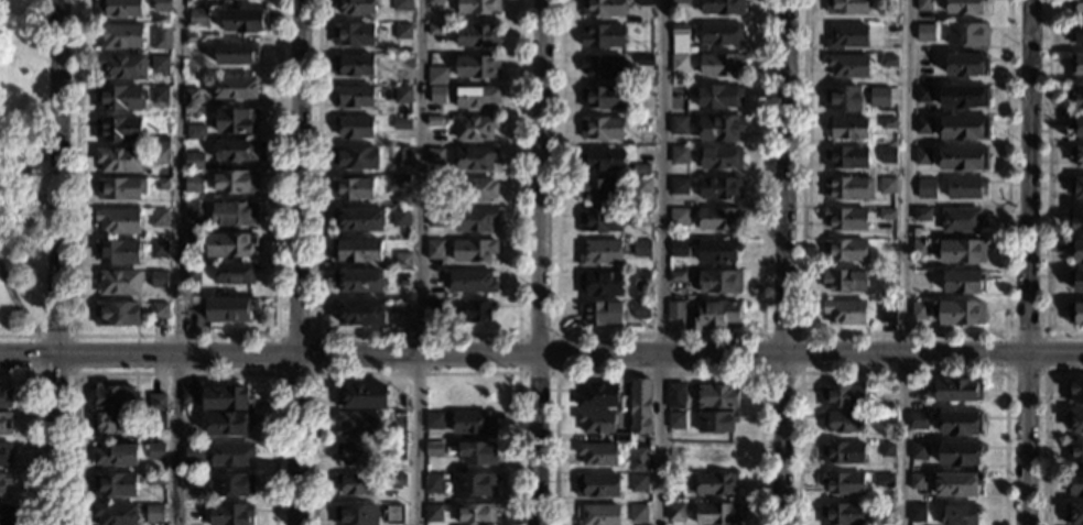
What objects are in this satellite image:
building: (434, 1)
building: (680, 2)
building: (646, 3)
building: (162, 6)
building: (402, 6)
building: (924, 6)
building: (1077, 6)
building: (356, 7)
building: (478, 7)
building: (722, 7)
building: (846, 7)
building: (965, 7)
building: (119, 8)
building: (603, 8)
building: (198, 19)
building: (245, 21)
building: (435, 30)
building: (888, 30)
building: (402, 32)
building: (925, 33)
building: (718, 34)
building: (1077, 34)
building: (354, 35)
building: (967, 35)
building: (121, 36)
building: (477, 36)
building: (604, 36)
building: (847, 36)
building: (162, 37)
building: (191, 37)
building: (680, 40)
building: (693, 52)
building: (236, 54)
building: (645, 61)
building: (888, 62)
building: (679, 63)
building: (160, 65)
building: (353, 65)
building: (721, 65)
building: (966, 65)
building: (1076, 65)
building: (121, 66)
building: (602, 66)
building: (847, 66)
building: (477, 67)
building: (402, 76)
building: (436, 76)
building: (235, 88)
building: (159, 95)
building: (402, 95)
building: (436, 95)
building: (922, 95)
building: (1076, 95)
building: (355, 97)
building: (476, 97)
building: (602, 97)
building: (718, 97)
building: (963, 97)
building: (120, 98)
building: (191, 98)
building: (879, 98)
building: (842, 99)
building: (236, 120)
building: (434, 121)
building: (888, 123)
building: (402, 124)
building: (679, 125)
building: (923, 125)
building: (354, 127)
building: (1076, 127)
building: (475, 128)
building: (602, 128)
building: (719, 128)
building: (847, 128)
building: (964, 128)
building: (118, 129)
building: (195, 132)
building: (161, 142)
building: (236, 151)
building: (160, 155)
building: (679, 155)
building: (888, 155)
building: (401, 156)
building: (435, 156)
building: (922, 156)
building: (1076, 156)
building: (354, 157)
building: (721, 157)
building: (845, 157)
building: (475, 158)
building: (963, 158)
building: (119, 160)
building: (602, 160)
building: (194, 161)
park: (25, 168)
building: (640, 169)
road: (1028, 176)
road: (784, 177)
building: (193, 183)
building: (236, 183)
building: (401, 183)
building: (161, 184)
building: (642, 186)
building: (680, 186)
building: (887, 186)
road: (1047, 186)
building: (120, 188)
building: (353, 188)
building: (721, 188)
building: (848, 188)
building: (925, 188)
building: (965, 188)
building: (1076, 188)
building: (478, 189)
building: (600, 189)
building: (193, 215)
building: (235, 215)
building: (887, 215)
building: (922, 215)
building: (679, 217)
building: (159, 218)
building: (400, 218)
building: (435, 218)
building: (643, 218)
building: (846, 218)
building: (359, 219)
building: (719, 219)
building: (118, 220)
building: (475, 220)
building: (605, 220)
building: (963, 220)
building: (1074, 220)
building: (921, 232)
building: (192, 243)
building: (229, 244)
building: (887, 245)
building: (679, 248)
building: (920, 248)
building: (159, 249)
building: (434, 249)
building: (641, 249)
building: (357, 250)
building: (845, 250)
building: (474, 251)
building: (717, 251)
building: (961, 251)
building: (1077, 251)
building: (117, 252)
building: (600, 253)
building: (403, 261)
road: (61, 262)
road: (180, 262)
road: (297, 262)
road: (421, 262)
road: (539, 262)
road: (660, 262)
road: (905, 262)
building: (235, 273)
building: (192, 276)
building: (676, 277)
building: (159, 280)
building: (641, 280)
building: (1076, 280)
building: (359, 281)
building: (844, 281)
building: (472, 282)
building: (719, 282)
building: (963, 282)
building: (119, 283)
building: (600, 284)
building: (218, 292)
road: (18, 302)
building: (433, 306)
building: (229, 309)
building: (160, 310)
building: (641, 310)
building: (675, 310)
building: (919, 310)
building: (474, 311)
building: (845, 311)
building: (359, 313)
building: (602, 313)
building: (959, 313)
building: (117, 314)
building: (1074, 314)
building: (714, 315)
building: (888, 315)
building: (401, 321)
road: (18, 333)
road: (415, 333)
road: (518, 333)
road: (658, 333)
road: (761, 333)
road: (903, 333)
road: (174, 335)
road: (541, 353)
road: (1006, 369)
road: (415, 372)
road: (657, 372)
road: (902, 372)
road: (72, 373)
road: (173, 373)
road: (314, 373)
building: (957, 390)
building: (1074, 392)
building: (598, 395)
building: (718, 395)
building: (115, 396)
building: (191, 396)
building: (676, 396)
building: (843, 396)
building: (371, 397)
building: (4, 400)
building: (227, 400)
building: (885, 402)
building: (156, 403)
building: (624, 403)
building: (640, 405)
building: (398, 420)
building: (434, 420)
building: (675, 420)
building: (919, 420)
building: (158, 422)
building: (596, 422)
building: (716, 422)
building: (843, 422)
building: (1076, 422)
building: (110, 423)
building: (358, 423)
building: (473, 423)
building: (6, 424)
building: (228, 424)
building: (961, 424)
road: (1043, 428)
road: (34, 431)
building: (622, 437)
road: (781, 439)
road: (1026, 439)
building: (191, 448)
building: (433, 449)
building: (887, 449)
building: (398, 451)
building: (673, 451)
building: (919, 451)
building: (156, 452)
building: (843, 452)
building: (1074, 452)
building: (357, 453)
building: (478, 453)
building: (597, 453)
building: (716, 453)
building: (960, 453)
building: (6, 455)
building: (116, 455)
building: (230, 455)
building: (638, 459)
building: (155, 480)
building: (673, 480)
building: (884, 480)
building: (397, 481)
building: (189, 482)
building: (843, 482)
building: (917, 482)
building: (4, 483)
building: (433, 483)
building: (638, 483)
building: (716, 483)
building: (357, 484)
building: (474, 484)
building: (956, 484)
building: (1074, 484)
building: (115, 485)
building: (231, 485)
building: (597, 485)
building: (672, 500)
building: (158, 510)
building: (882, 511)
building: (192, 513)
building: (433, 513)
building: (638, 513)
building: (675, 513)
building: (116, 514)
building: (230, 514)
building: (394, 514)
building: (477, 514)
building: (716, 514)
building: (842, 514)
building: (917, 514)
building: (960, 514)
building: (1076, 514)
building: (6, 515)
building: (356, 515)
building: (599, 515)

